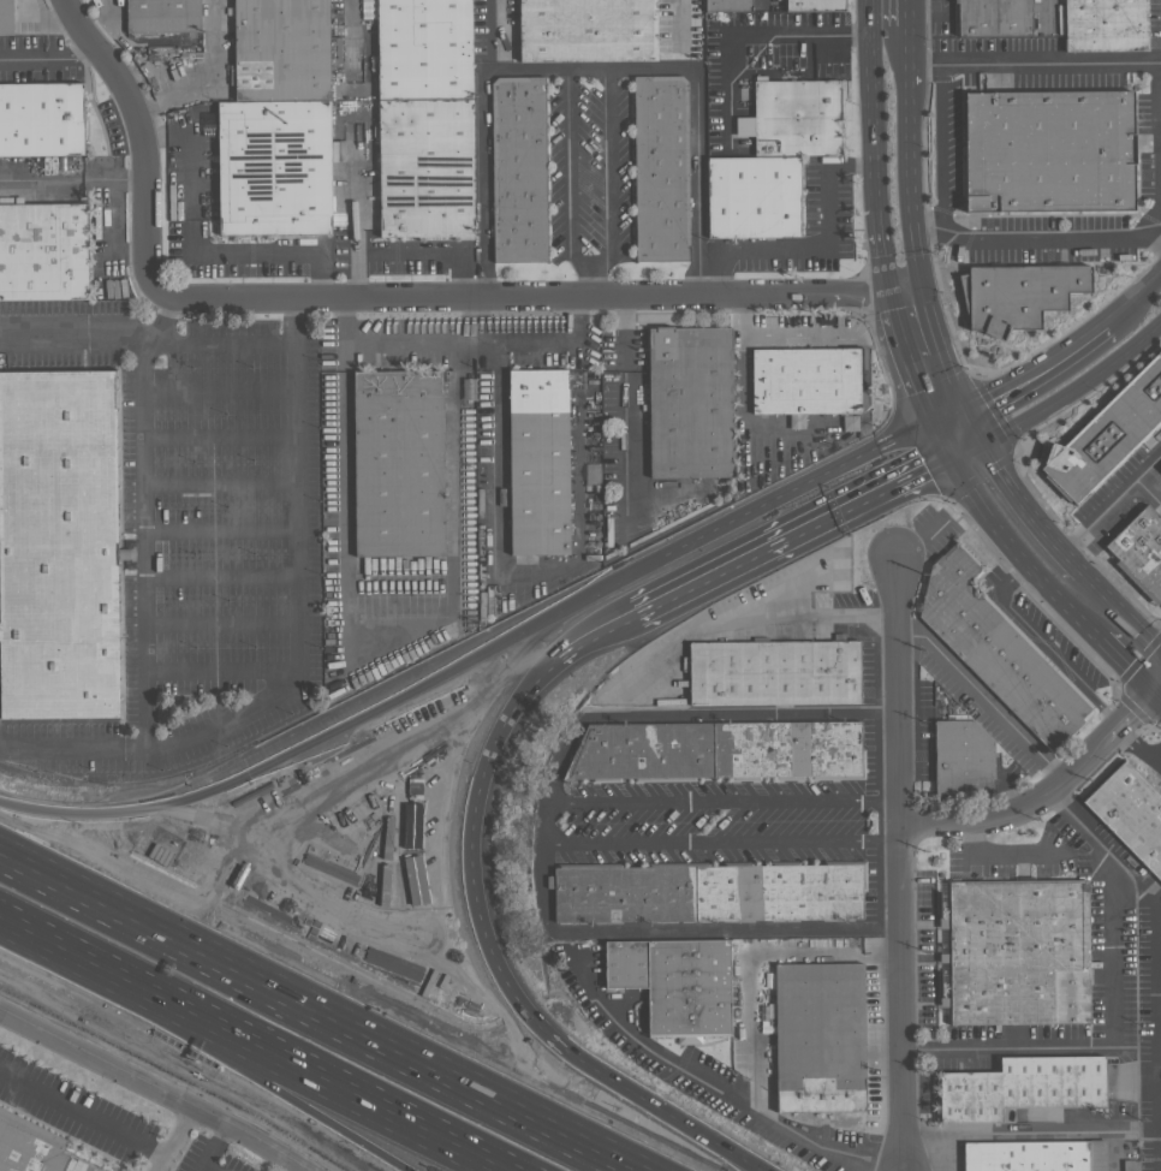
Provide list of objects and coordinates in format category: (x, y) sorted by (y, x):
building: (815, 1)
building: (726, 2)
road: (760, 2)
road: (909, 7)
road: (355, 11)
road: (928, 13)
road: (1041, 13)
building: (162, 16)
building: (5, 17)
road: (52, 17)
building: (993, 18)
building: (1106, 25)
building: (588, 30)
road: (678, 32)
road: (492, 34)
road: (750, 34)
road: (910, 40)
building: (425, 49)
building: (282, 50)
road: (47, 57)
road: (1035, 64)
road: (210, 81)
road: (873, 105)
building: (41, 117)
building: (798, 118)
road: (481, 119)
road: (142, 136)
road: (696, 136)
road: (945, 150)
building: (1050, 151)
road: (910, 153)
building: (274, 168)
building: (427, 168)
building: (662, 168)
building: (520, 170)
road: (73, 178)
building: (756, 196)
road: (356, 210)
road: (1154, 227)
road: (1061, 236)
road: (931, 238)
road: (198, 244)
road: (817, 246)
building: (43, 249)
road: (882, 250)
road: (419, 252)
road: (589, 262)
road: (919, 263)
road: (357, 277)
road: (591, 279)
road: (906, 289)
road: (862, 292)
road: (495, 296)
building: (1018, 296)
road: (891, 299)
road: (1132, 299)
road: (930, 320)
road: (76, 335)
road: (225, 341)
road: (740, 359)
road: (911, 367)
road: (1035, 373)
building: (806, 380)
road: (951, 382)
road: (1076, 388)
traffic signals: (919, 391)
road: (221, 392)
traffic signals: (994, 399)
building: (691, 402)
road: (626, 415)
road: (947, 418)
road: (972, 427)
building: (1107, 436)
road: (221, 441)
road: (942, 441)
road: (968, 450)
building: (538, 462)
building: (400, 463)
traffic signals: (1001, 469)
building: (1160, 469)
traffic signals: (927, 470)
building: (591, 472)
road: (222, 487)
road: (1148, 492)
road: (1112, 503)
road: (1028, 510)
road: (222, 534)
road: (792, 537)
building: (56, 548)
building: (1139, 551)
road: (1022, 552)
road: (524, 575)
road: (224, 579)
road: (589, 593)
road: (1121, 610)
road: (762, 618)
road: (419, 625)
road: (224, 628)
road: (594, 638)
road: (1040, 644)
building: (1000, 649)
road: (1127, 666)
traffic signals: (1127, 666)
road: (225, 674)
building: (774, 674)
road: (1157, 696)
road: (982, 699)
road: (1133, 711)
traffic signals: (1132, 713)
road: (691, 715)
road: (194, 742)
road: (1139, 744)
road: (73, 751)
building: (719, 751)
building: (965, 761)
traffic signals: (248, 767)
road: (1014, 808)
road: (127, 810)
building: (1130, 814)
road: (546, 822)
parking lot: (730, 822)
road: (1102, 854)
road: (995, 855)
parking lot: (1012, 860)
road: (899, 861)
building: (712, 893)
road: (677, 928)
road: (2, 944)
parking lot: (924, 951)
road: (830, 952)
building: (1018, 952)
parking lot: (1111, 965)
road: (498, 969)
building: (678, 983)
road: (341, 1000)
road: (114, 1011)
road: (1159, 1026)
building: (821, 1038)
road: (1096, 1044)
road: (233, 1058)
parking lot: (697, 1066)
road: (705, 1080)
road: (159, 1086)
building: (1024, 1088)
road: (83, 1111)
road: (297, 1123)
road: (1136, 1125)
road: (1007, 1131)
road: (174, 1139)
road: (210, 1145)
building: (29, 1148)
road: (1115, 1151)
road: (1159, 1155)
building: (1037, 1157)
road: (207, 1166)

